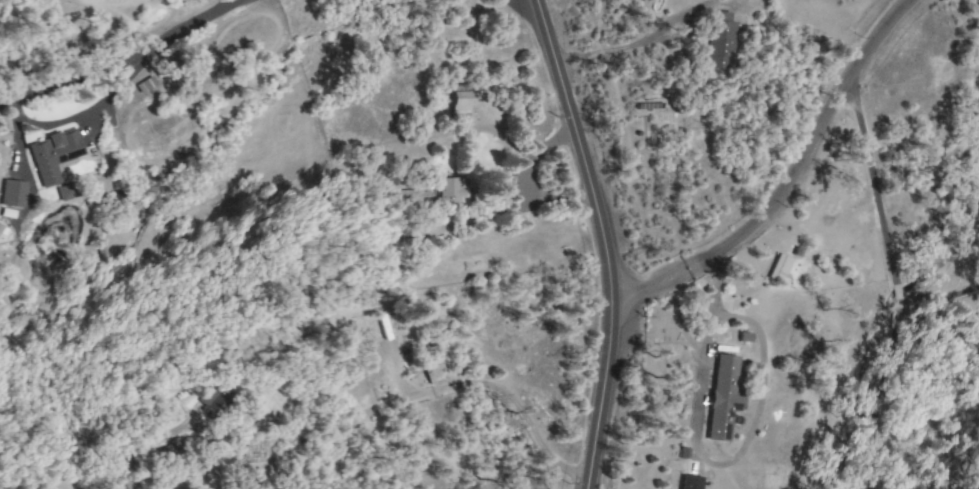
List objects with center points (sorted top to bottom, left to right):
road: (525, 11)
building: (718, 41)
road: (876, 42)
road: (613, 49)
road: (120, 61)
building: (457, 98)
road: (79, 114)
building: (52, 155)
road: (522, 181)
road: (779, 190)
building: (451, 191)
building: (12, 193)
building: (415, 197)
road: (602, 241)
building: (778, 268)
road: (891, 283)
road: (648, 288)
road: (938, 301)
road: (711, 311)
building: (432, 373)
road: (459, 386)
building: (721, 396)
building: (213, 400)
building: (122, 482)

